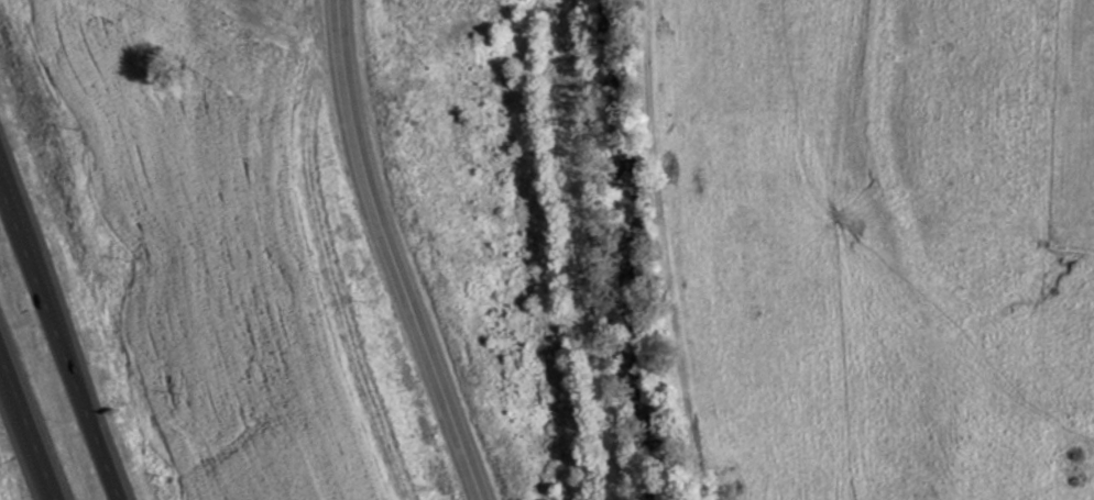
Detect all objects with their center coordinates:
road: (390, 255)
road: (58, 343)
road: (28, 425)

